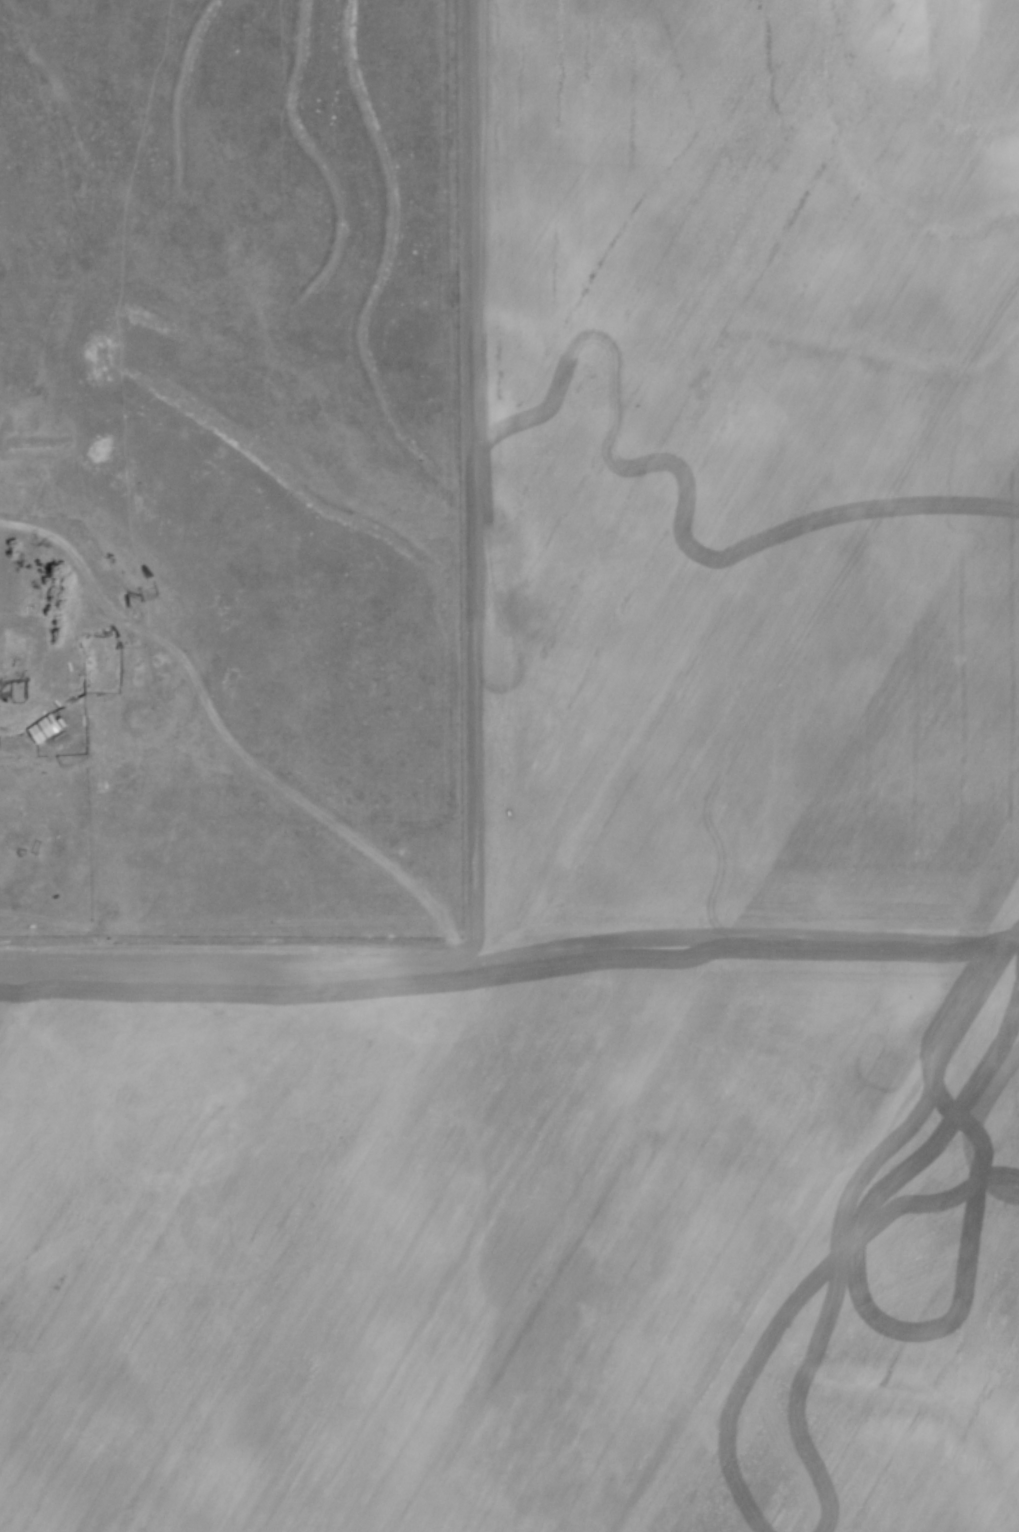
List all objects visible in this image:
building: (44, 720)

